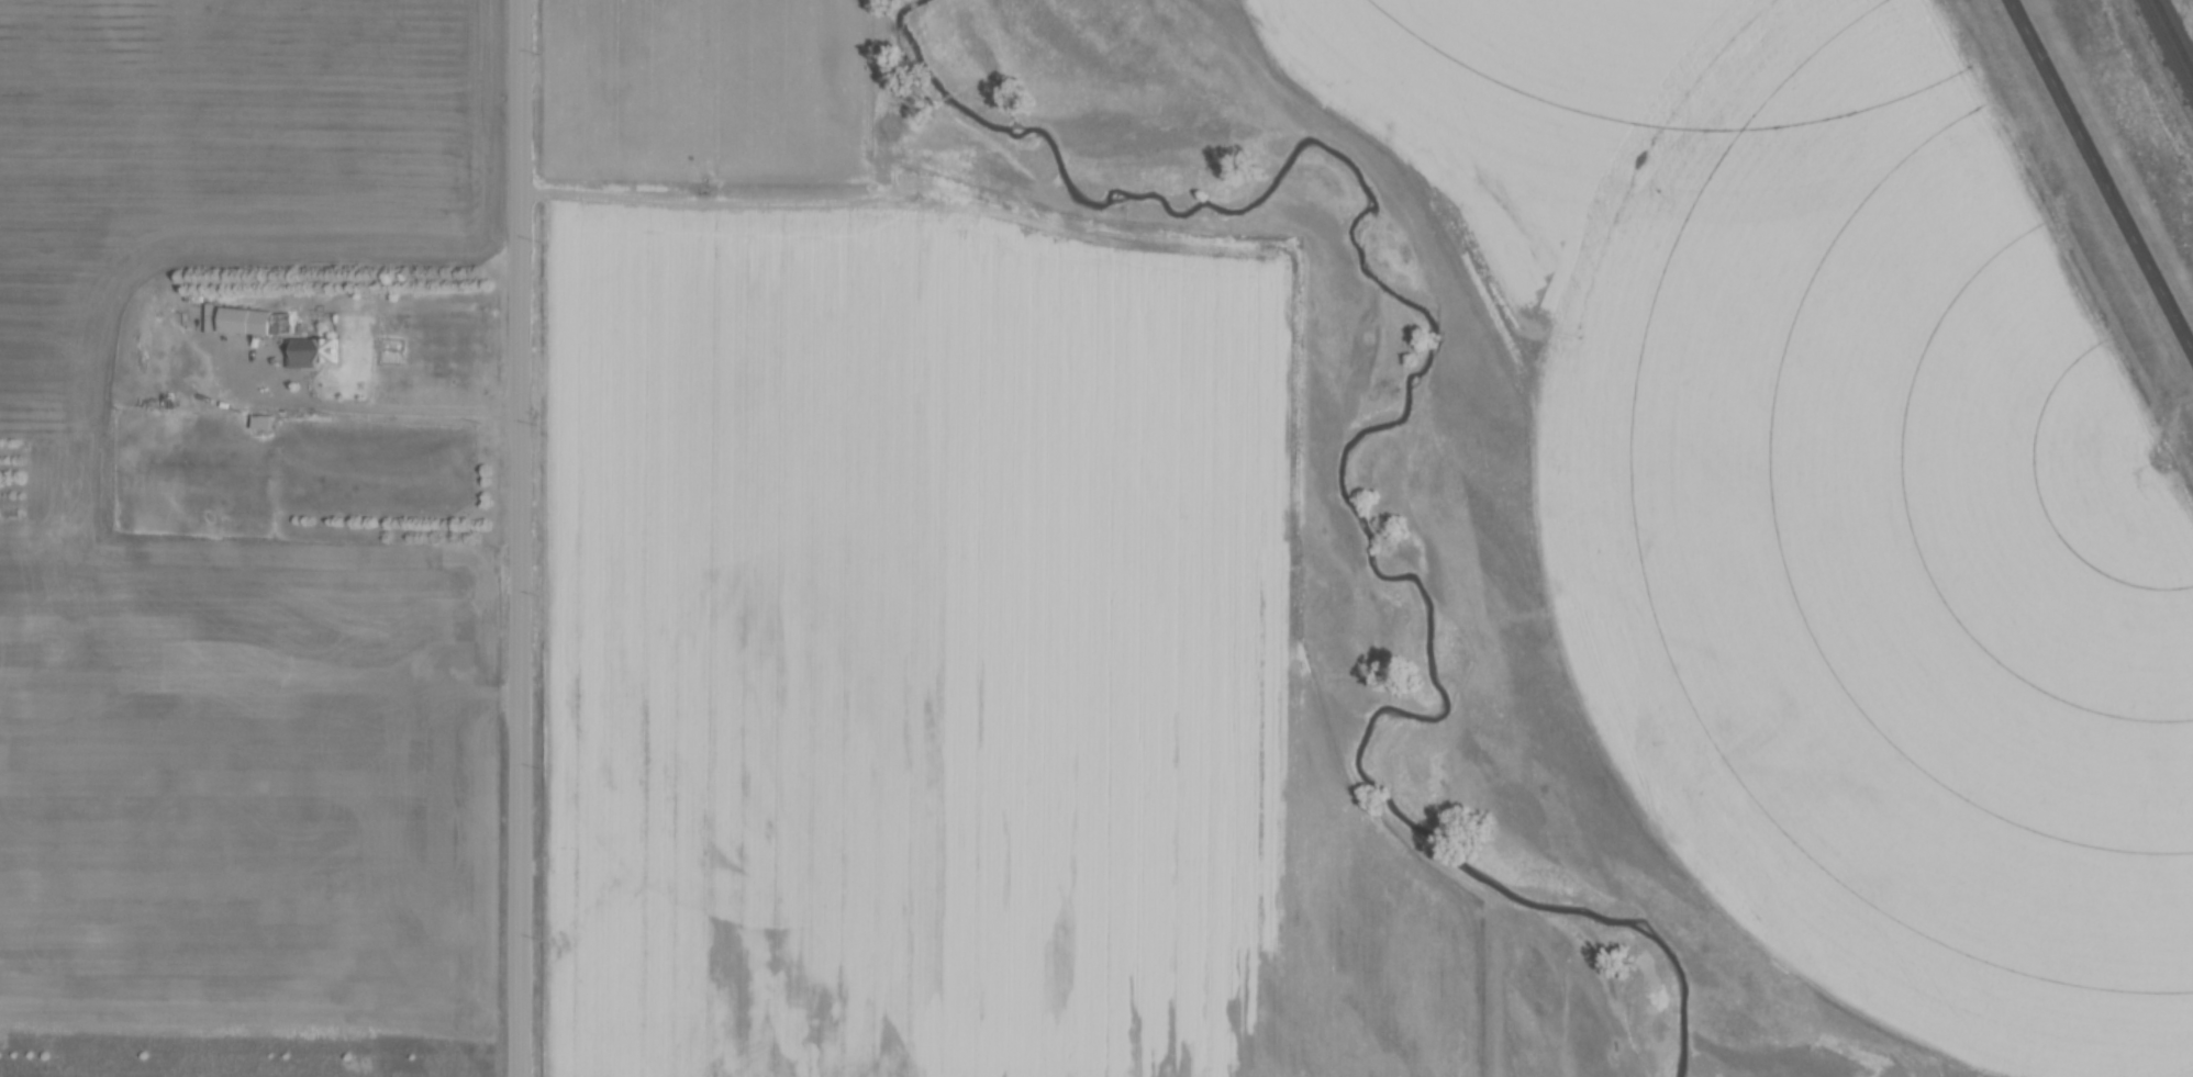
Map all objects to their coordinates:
railway: (2175, 32)
railway: (2169, 44)
crop: (706, 82)
crop: (230, 149)
road: (2102, 175)
building: (235, 319)
building: (282, 321)
building: (312, 350)
road: (389, 408)
building: (264, 420)
crop: (1846, 465)
road: (522, 538)
crop: (964, 672)
crop: (248, 783)

